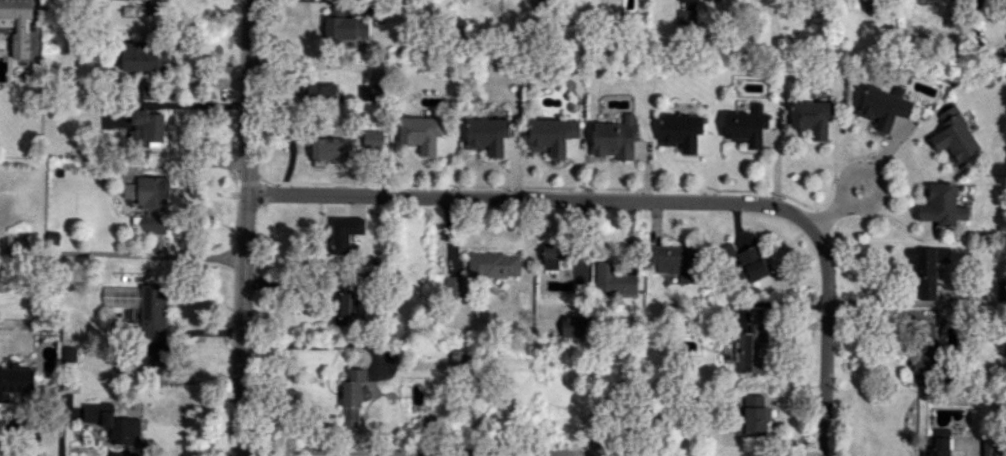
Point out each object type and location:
building: (159, 3)
building: (686, 17)
building: (18, 25)
building: (344, 28)
building: (143, 58)
building: (149, 88)
building: (318, 91)
building: (370, 92)
building: (883, 107)
building: (812, 117)
building: (114, 121)
building: (747, 125)
building: (148, 127)
building: (681, 131)
building: (421, 133)
building: (487, 134)
building: (552, 135)
building: (955, 137)
building: (616, 138)
building: (346, 143)
road: (903, 144)
road: (852, 171)
road: (648, 200)
building: (151, 202)
building: (942, 205)
road: (246, 228)
building: (345, 233)
building: (728, 250)
road: (122, 253)
building: (554, 255)
building: (674, 260)
building: (752, 263)
building: (494, 264)
building: (927, 268)
building: (614, 279)
building: (454, 286)
building: (1000, 290)
building: (138, 307)
building: (343, 307)
building: (751, 342)
building: (925, 354)
building: (458, 358)
building: (16, 379)
building: (353, 398)
building: (752, 400)
building: (755, 420)
building: (113, 422)
building: (940, 432)
building: (935, 446)
building: (993, 446)
road: (414, 452)
road: (968, 454)

